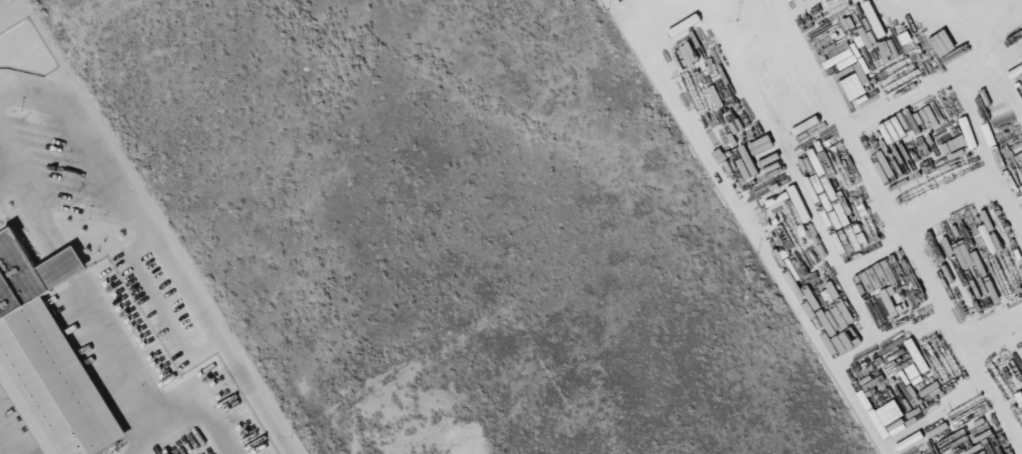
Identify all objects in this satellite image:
building: (873, 19)
building: (852, 66)
road: (8, 182)
road: (32, 201)
building: (966, 257)
road: (68, 263)
building: (47, 358)
road: (128, 369)
road: (0, 452)

